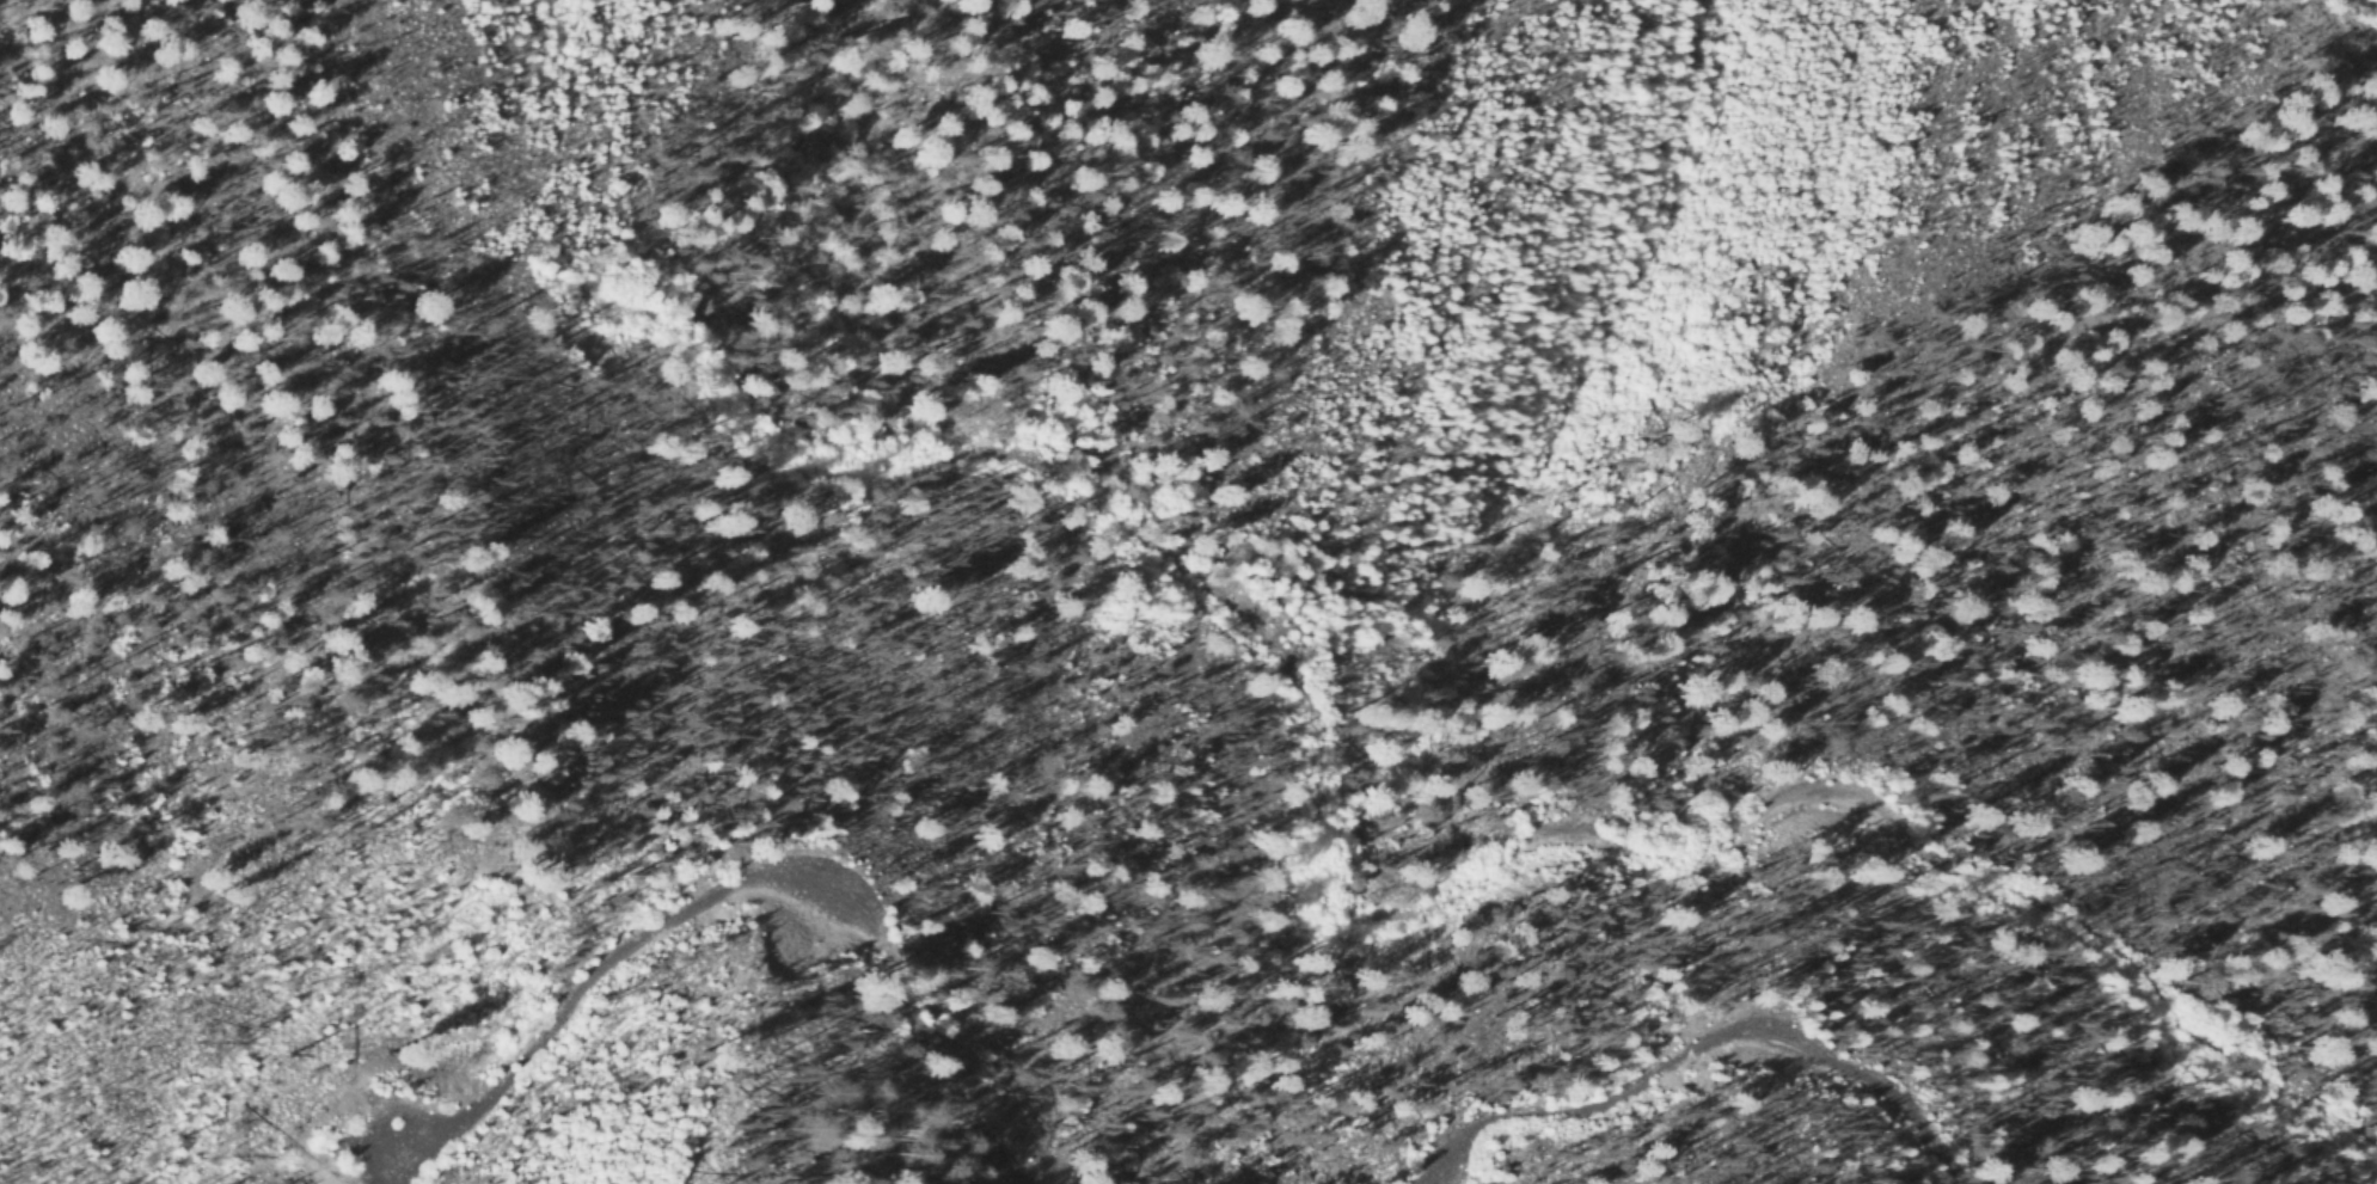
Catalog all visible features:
road: (2370, 1)

